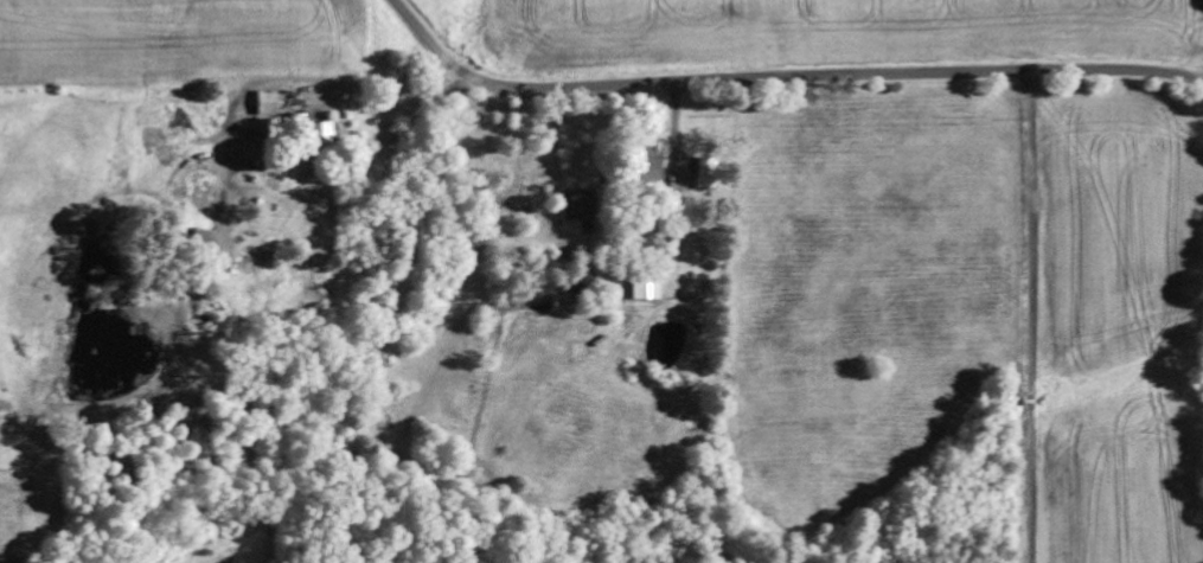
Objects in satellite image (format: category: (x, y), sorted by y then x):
road: (781, 76)
building: (262, 102)
building: (315, 133)
building: (645, 161)
building: (700, 172)
building: (200, 238)
building: (640, 286)
road: (1032, 315)

